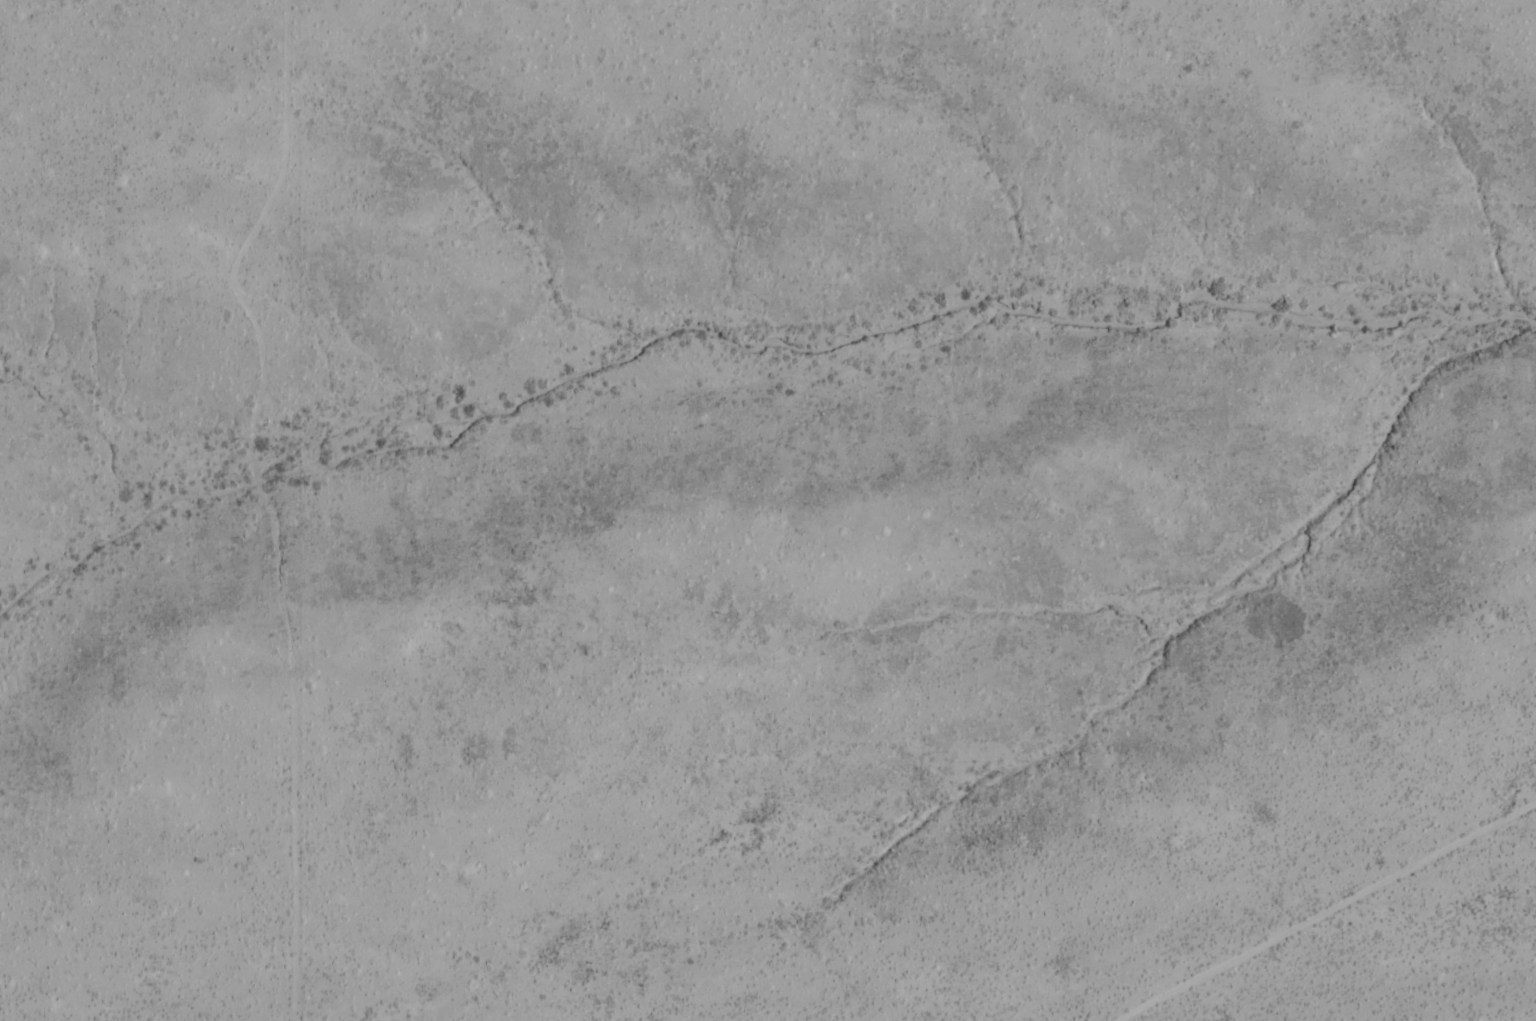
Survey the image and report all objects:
road: (263, 500)
road: (1331, 918)

